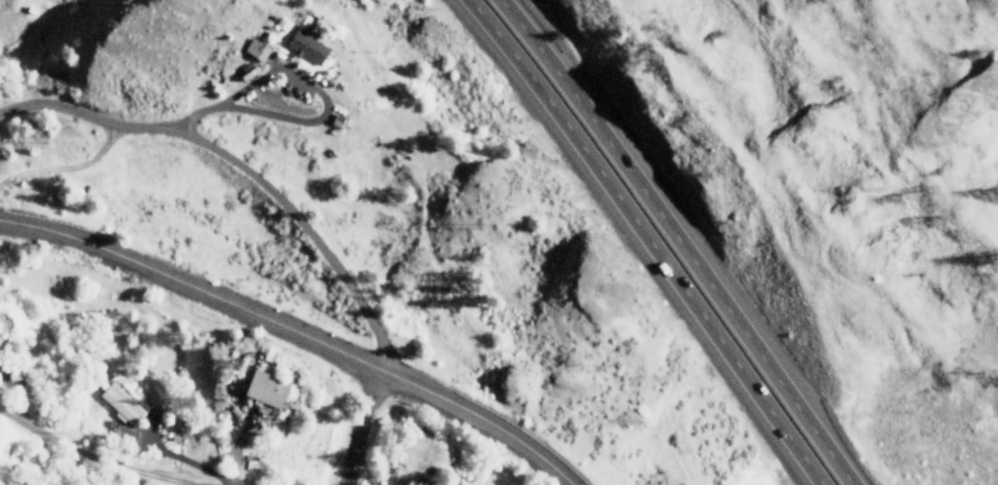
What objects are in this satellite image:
building: (304, 45)
building: (254, 49)
road: (239, 167)
road: (639, 240)
road: (679, 240)
road: (294, 330)
building: (0, 358)
building: (262, 387)
building: (119, 403)
road: (364, 427)
road: (96, 446)
building: (416, 482)

